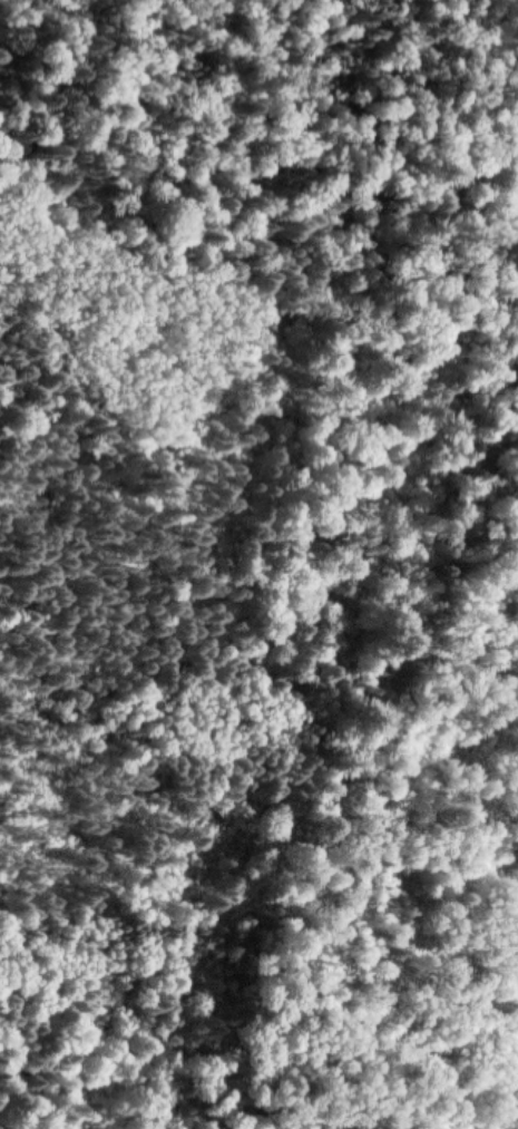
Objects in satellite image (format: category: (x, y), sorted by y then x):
road: (344, 889)

